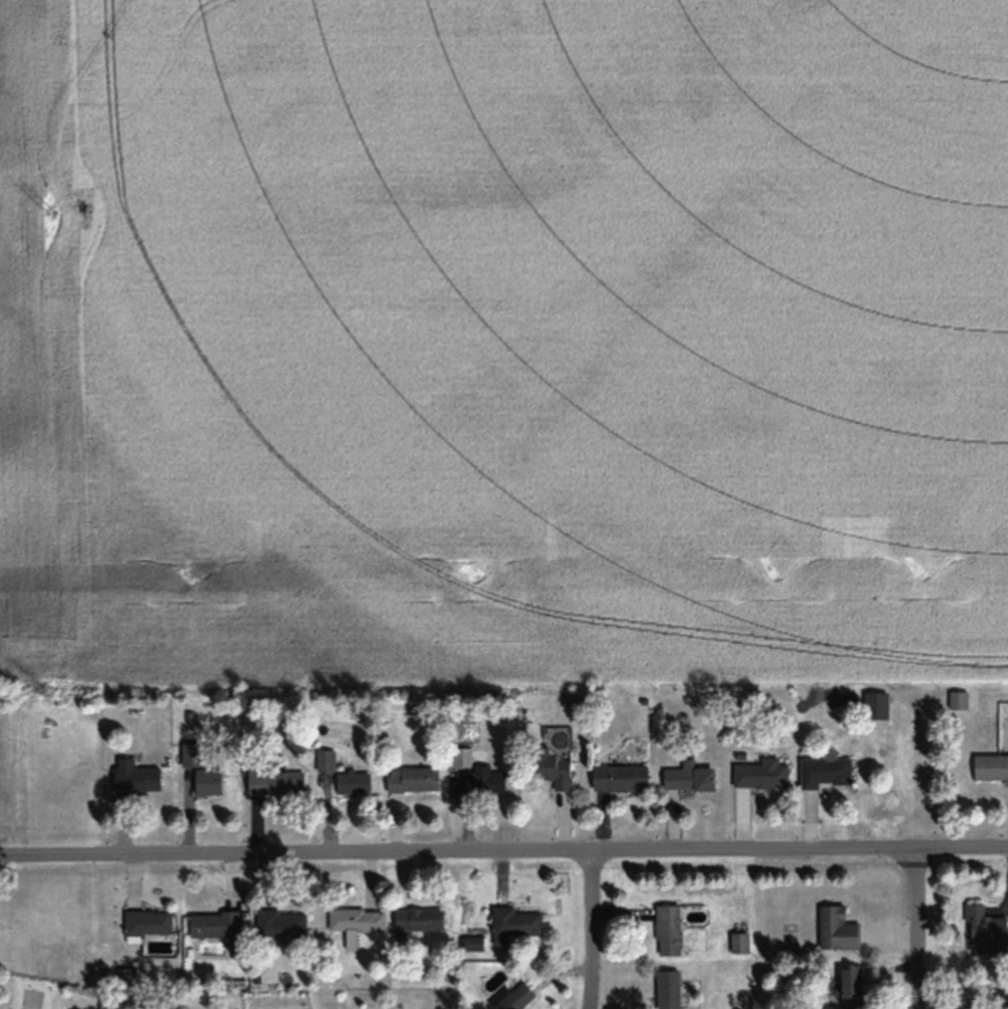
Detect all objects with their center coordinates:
power tower: (51, 209)
power tower: (51, 697)
building: (875, 705)
building: (190, 754)
building: (325, 760)
building: (991, 766)
building: (552, 768)
building: (826, 771)
building: (761, 773)
building: (620, 776)
building: (689, 776)
building: (413, 779)
building: (482, 779)
building: (136, 780)
building: (207, 781)
building: (275, 782)
building: (352, 782)
road: (503, 856)
building: (356, 919)
building: (418, 919)
building: (147, 921)
building: (513, 923)
building: (214, 924)
building: (281, 924)
building: (986, 925)
building: (837, 927)
building: (668, 928)
road: (589, 932)
road: (914, 932)
building: (739, 941)
building: (470, 943)
building: (126, 976)
building: (851, 979)
building: (668, 989)
building: (515, 998)

